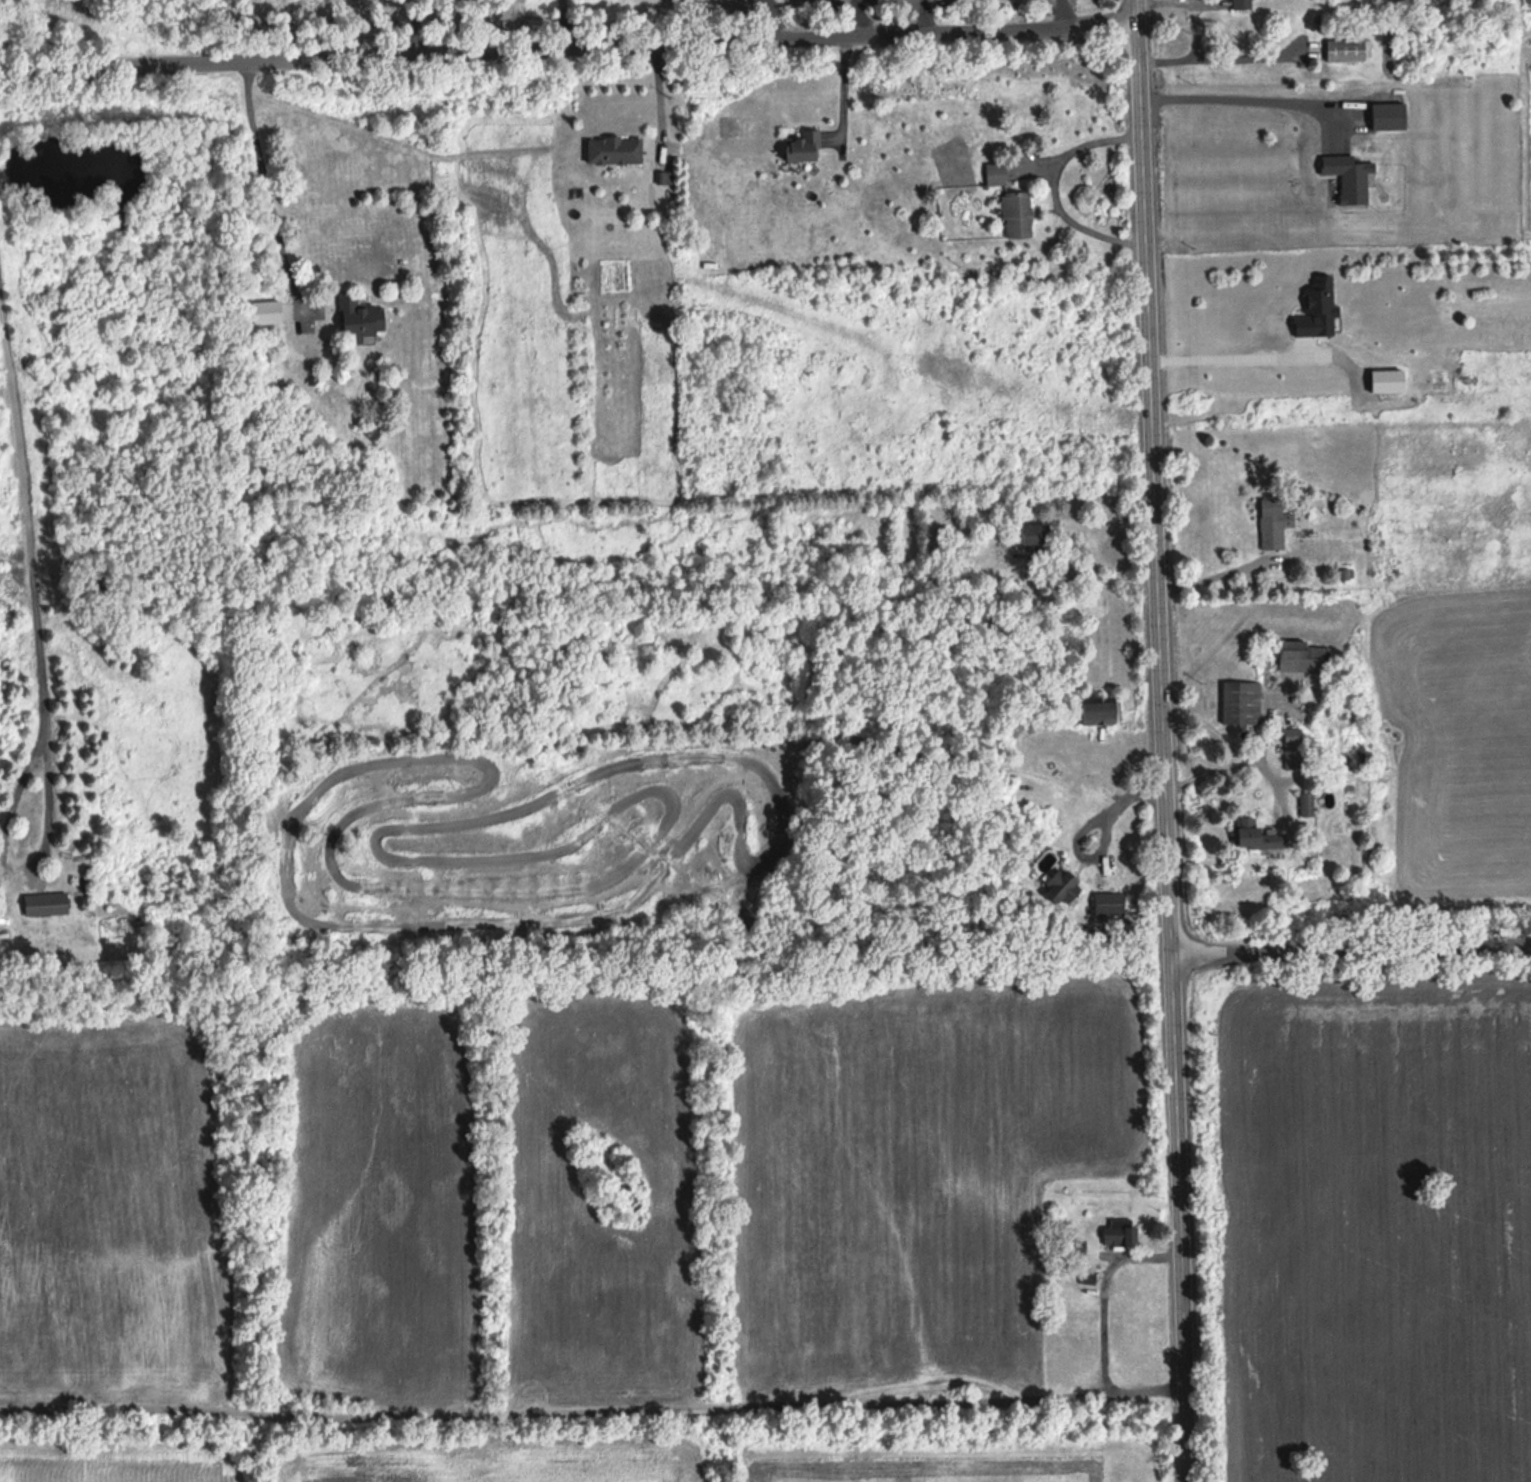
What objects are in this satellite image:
road: (1147, 1)
building: (1528, 1)
building: (1243, 4)
road: (569, 44)
building: (1349, 49)
road: (1198, 52)
road: (848, 87)
road: (658, 94)
building: (805, 146)
building: (615, 150)
building: (996, 173)
road: (1053, 186)
road: (267, 187)
building: (1018, 215)
building: (361, 318)
road: (1227, 356)
road: (27, 513)
building: (1274, 524)
building: (1036, 536)
road: (1092, 572)
road: (1213, 574)
building: (1304, 655)
building: (1241, 701)
building: (1101, 710)
road: (1212, 727)
road: (1164, 740)
building: (1293, 747)
road: (1225, 763)
building: (1306, 803)
road: (1085, 823)
building: (1259, 834)
road: (21, 863)
building: (1062, 887)
building: (47, 903)
building: (1110, 903)
road: (1351, 948)
building: (1122, 1232)
road: (1104, 1291)
road: (592, 1412)

